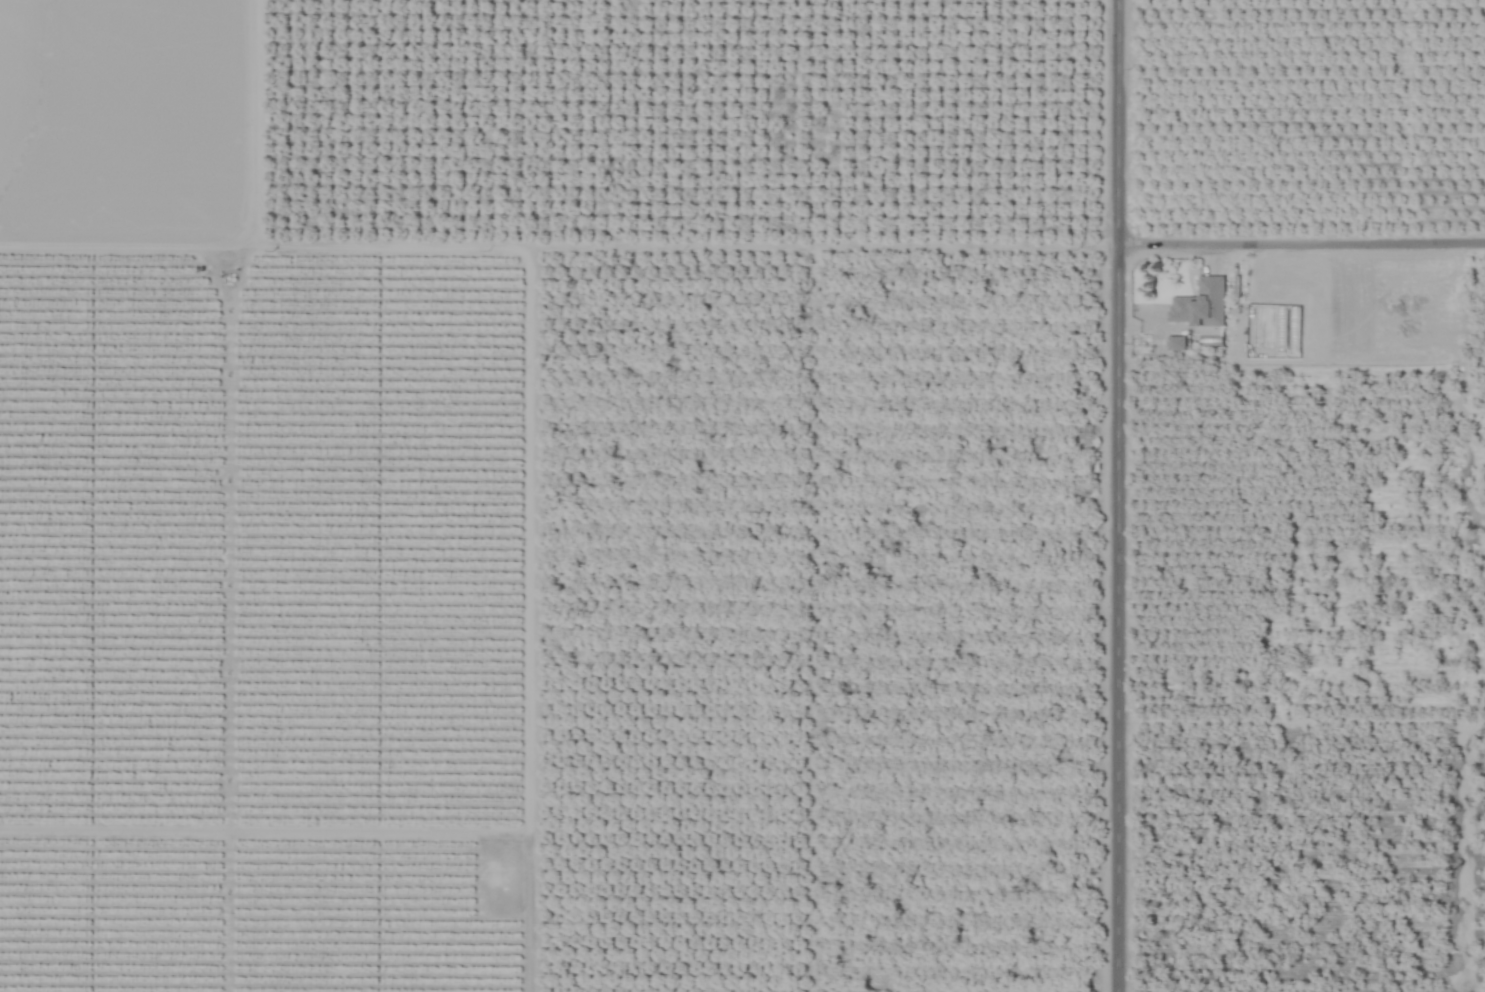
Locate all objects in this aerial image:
road: (1305, 234)
building: (1199, 304)
building: (1175, 343)
road: (527, 359)
road: (1122, 496)

